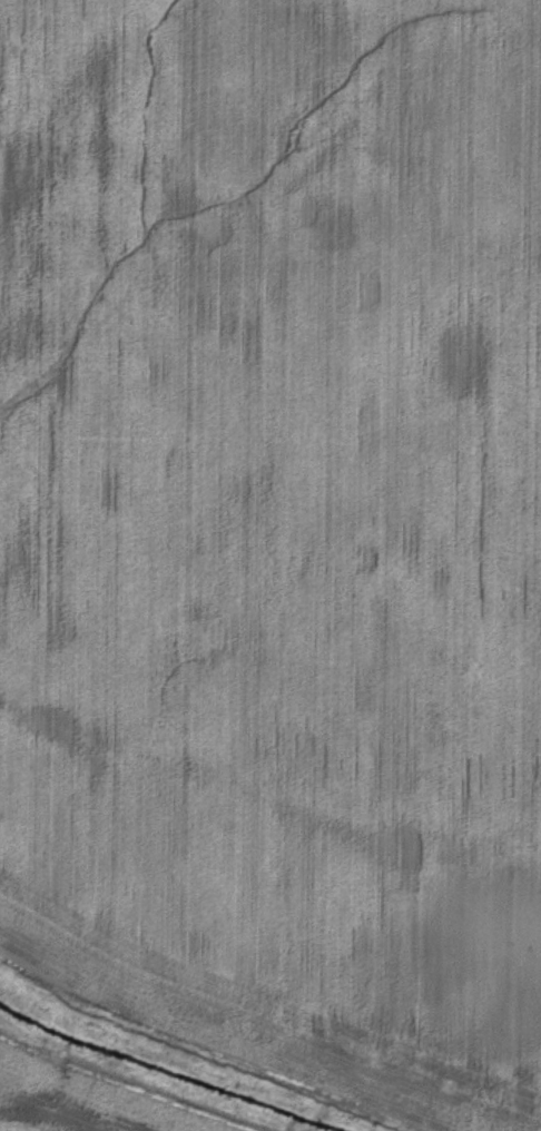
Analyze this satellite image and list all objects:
crop: (270, 565)

